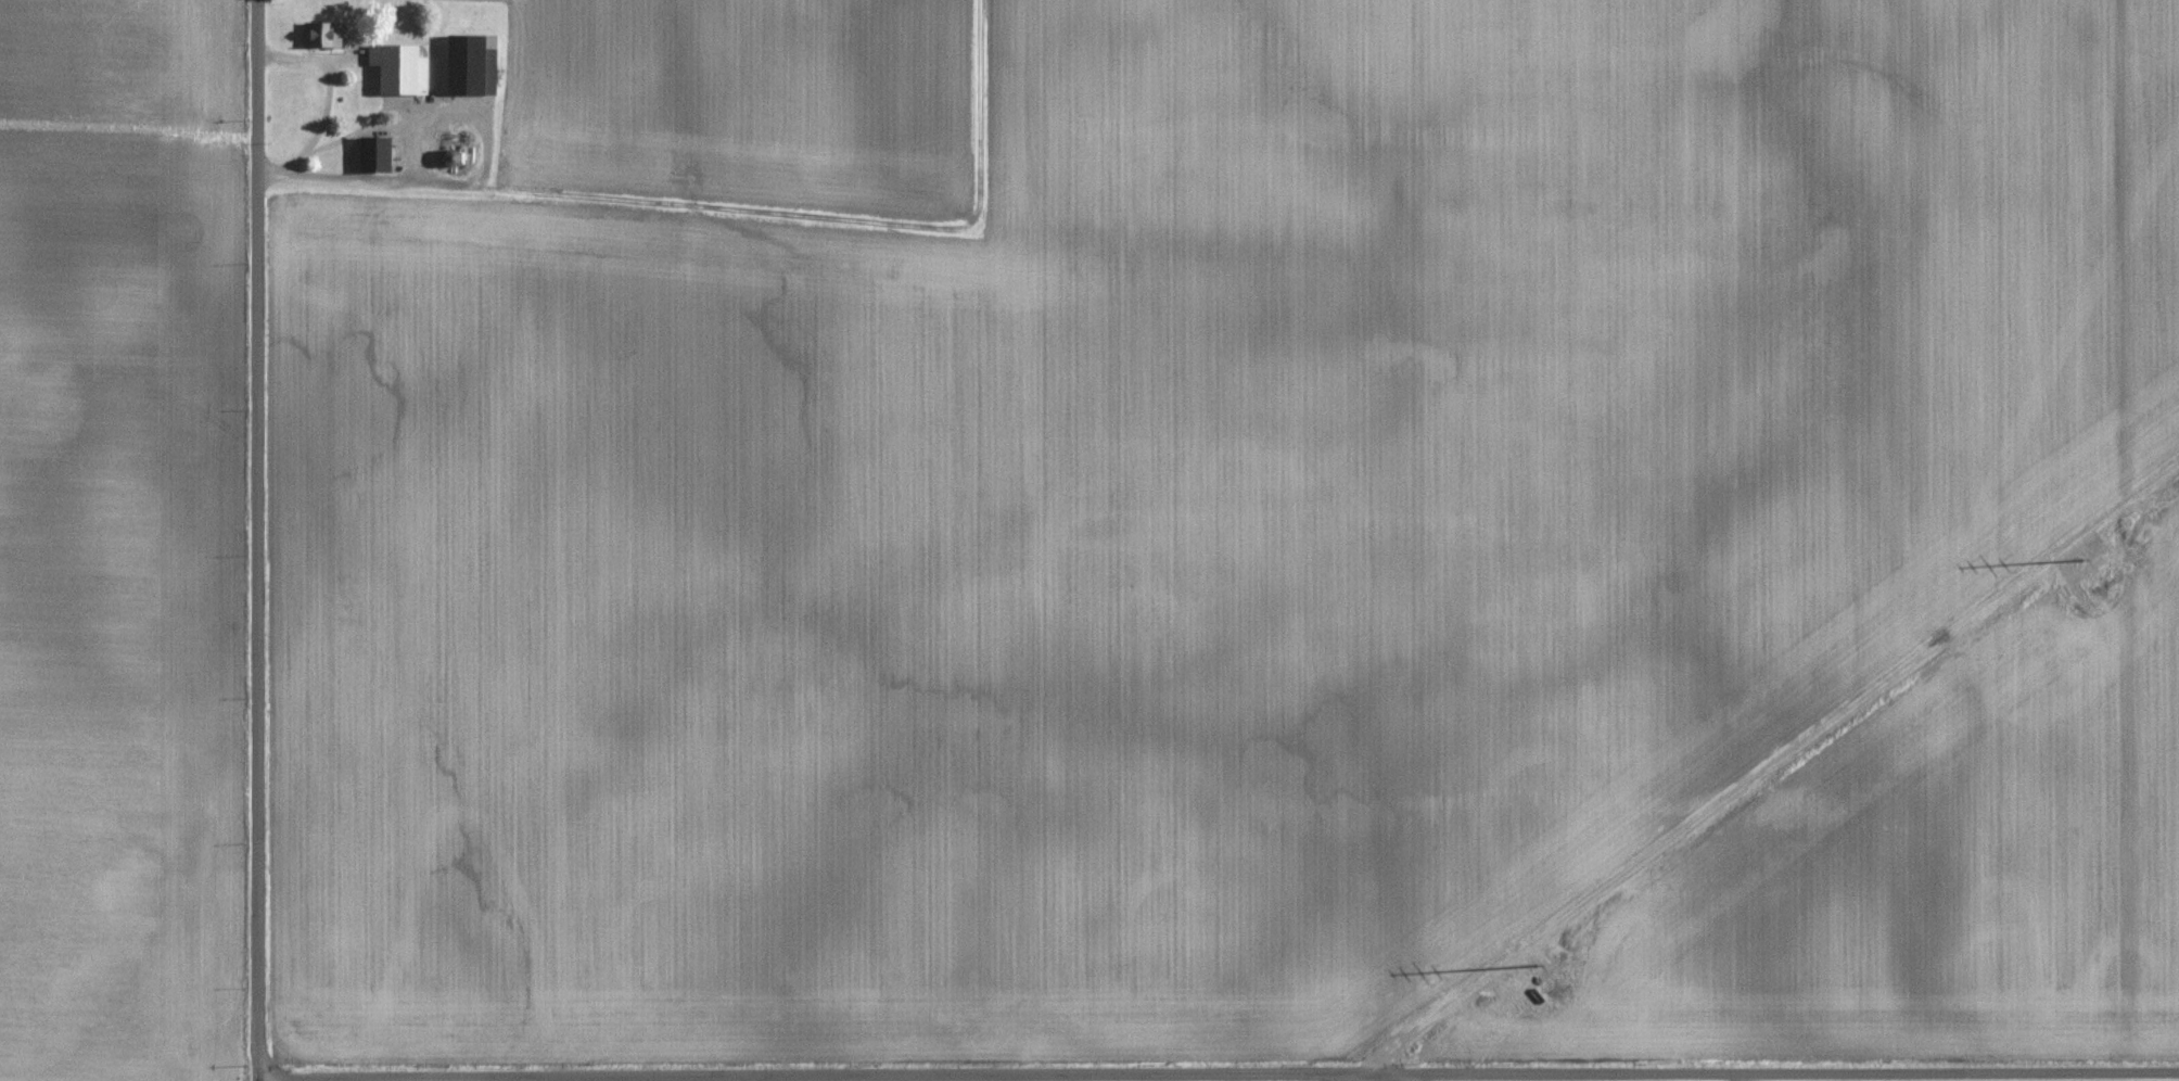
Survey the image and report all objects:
building: (321, 36)
building: (470, 66)
building: (399, 71)
road: (328, 87)
building: (374, 155)
building: (450, 158)
road: (368, 178)
road: (258, 540)
power tower: (2103, 584)
power tower: (1557, 992)
road: (1222, 1073)
road: (1405, 1077)
road: (1741, 1077)

